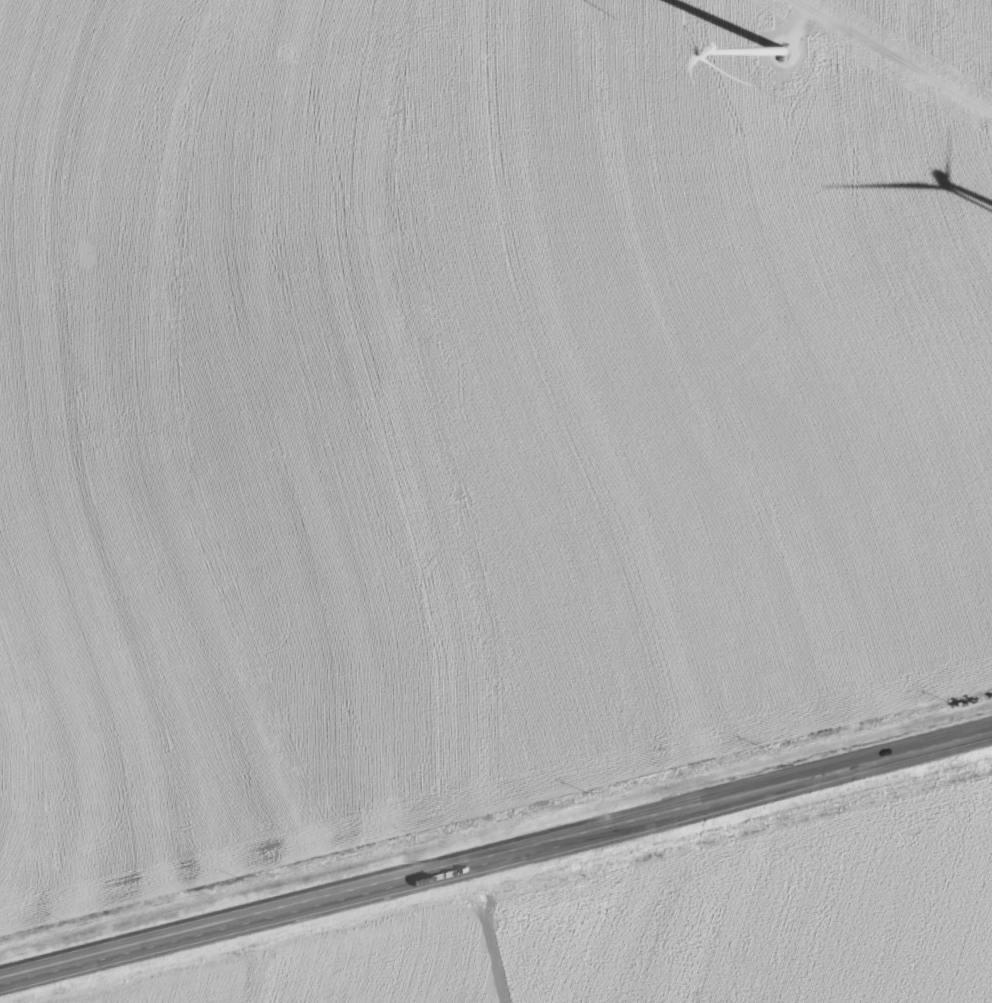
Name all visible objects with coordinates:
wind turbine: (771, 51)
road: (892, 56)
road: (496, 852)

